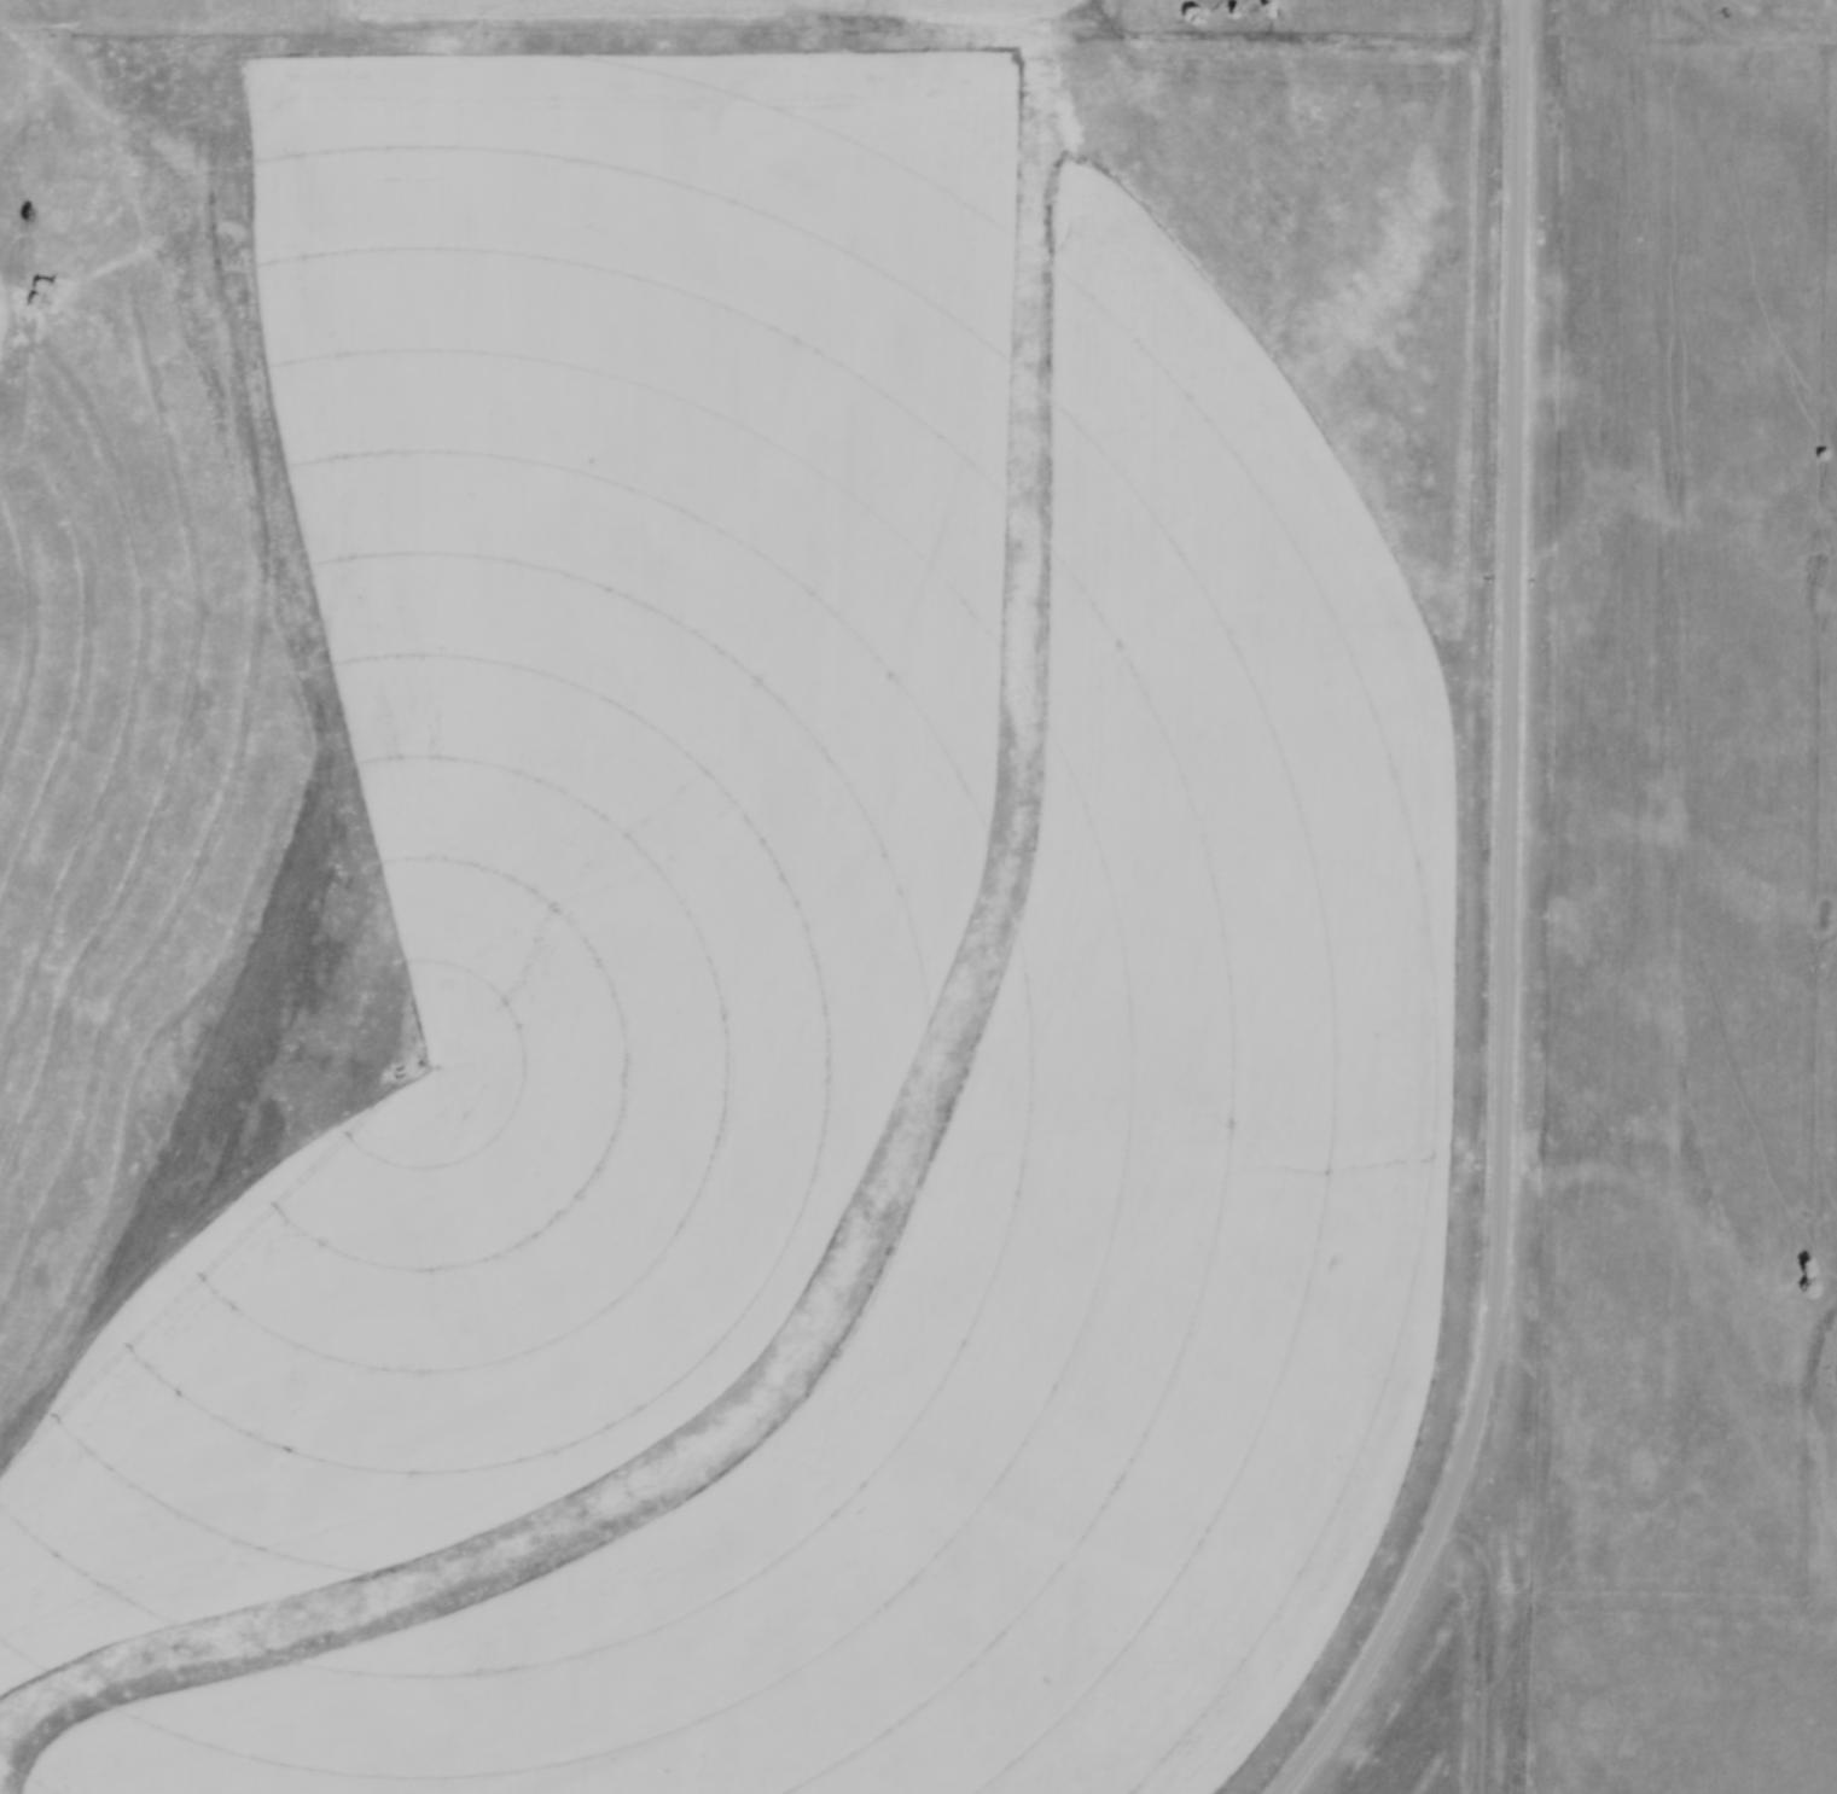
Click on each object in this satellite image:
road: (1502, 922)

